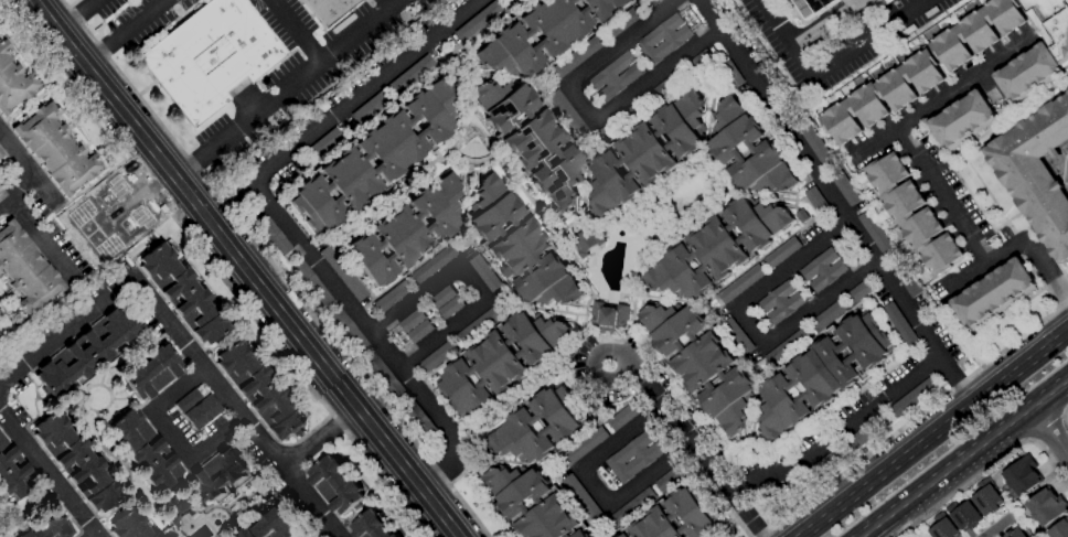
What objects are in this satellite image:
building: (510, 1)
building: (654, 2)
building: (812, 7)
building: (328, 9)
building: (683, 12)
road: (77, 15)
building: (690, 20)
road: (289, 21)
building: (478, 21)
building: (619, 23)
building: (1050, 23)
building: (694, 28)
road: (124, 31)
building: (976, 32)
building: (505, 40)
building: (674, 40)
road: (314, 52)
building: (210, 56)
building: (575, 57)
building: (698, 62)
road: (829, 64)
building: (1027, 73)
building: (410, 75)
building: (730, 75)
building: (616, 76)
road: (62, 79)
building: (13, 82)
building: (664, 87)
road: (287, 89)
building: (1067, 93)
road: (946, 95)
building: (880, 97)
road: (32, 103)
building: (370, 107)
road: (343, 109)
road: (587, 109)
building: (567, 114)
building: (961, 119)
building: (618, 123)
road: (787, 130)
building: (532, 141)
building: (323, 144)
building: (815, 146)
building: (56, 149)
building: (748, 151)
building: (0, 153)
building: (645, 154)
building: (375, 158)
road: (30, 170)
building: (1037, 173)
road: (510, 181)
road: (93, 184)
building: (1, 186)
building: (844, 187)
road: (45, 189)
road: (671, 195)
road: (943, 196)
building: (814, 201)
building: (911, 214)
building: (801, 216)
building: (121, 223)
building: (407, 230)
building: (875, 235)
road: (39, 236)
building: (274, 236)
building: (585, 240)
building: (520, 247)
building: (717, 249)
road: (652, 251)
building: (781, 253)
road: (984, 262)
building: (434, 264)
road: (245, 268)
road: (275, 268)
road: (1047, 268)
building: (25, 270)
building: (822, 270)
building: (342, 272)
building: (483, 272)
building: (903, 278)
road: (471, 282)
building: (311, 283)
building: (740, 284)
building: (859, 291)
building: (992, 292)
building: (182, 293)
building: (392, 296)
building: (441, 297)
building: (780, 302)
building: (449, 308)
road: (909, 309)
building: (829, 314)
building: (608, 318)
building: (412, 321)
building: (480, 324)
building: (898, 324)
road: (755, 326)
building: (348, 330)
building: (419, 332)
road: (374, 335)
building: (737, 335)
road: (186, 344)
building: (788, 346)
building: (85, 353)
building: (437, 356)
building: (501, 361)
building: (701, 364)
building: (152, 373)
building: (821, 374)
building: (386, 377)
road: (959, 378)
road: (302, 380)
building: (258, 390)
building: (904, 402)
building: (197, 408)
building: (624, 415)
road: (1064, 417)
road: (911, 418)
building: (419, 420)
building: (519, 426)
road: (1047, 429)
road: (839, 430)
road: (1047, 430)
road: (933, 433)
road: (323, 436)
road: (172, 437)
building: (862, 437)
building: (584, 447)
building: (146, 450)
road: (695, 451)
road: (961, 455)
building: (645, 457)
building: (77, 461)
building: (825, 463)
road: (984, 469)
road: (53, 470)
building: (13, 472)
building: (217, 475)
building: (673, 476)
building: (1022, 476)
building: (334, 485)
road: (594, 490)
building: (580, 497)
building: (985, 498)
building: (549, 502)
building: (1046, 506)
building: (631, 507)
building: (175, 509)
building: (962, 515)
building: (677, 517)
building: (131, 525)
building: (271, 526)
building: (372, 526)
building: (49, 527)
road: (997, 527)
building: (942, 529)
building: (1059, 529)
road: (325, 531)
building: (1013, 533)
road: (98, 534)
building: (588, 536)
building: (618, 536)

